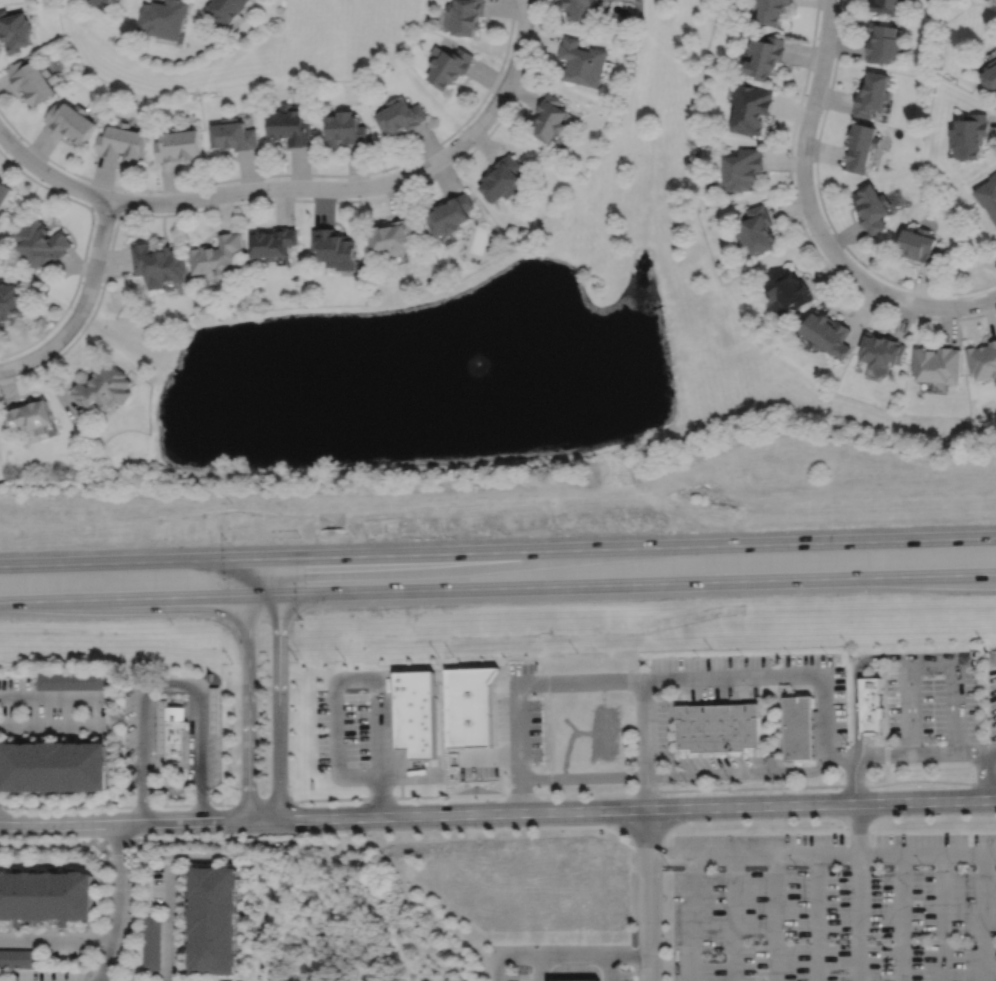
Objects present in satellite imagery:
building: (111, 1)
building: (96, 2)
building: (884, 7)
building: (224, 10)
building: (579, 11)
building: (770, 12)
building: (164, 17)
building: (464, 17)
street lamp: (534, 26)
building: (13, 29)
building: (881, 43)
building: (764, 54)
building: (582, 61)
building: (447, 65)
building: (990, 74)
building: (31, 79)
building: (870, 92)
building: (749, 107)
building: (398, 115)
road: (809, 115)
building: (550, 117)
building: (70, 120)
building: (289, 125)
building: (342, 128)
building: (233, 134)
building: (969, 134)
street lamp: (19, 139)
building: (121, 140)
building: (178, 144)
building: (859, 145)
building: (741, 168)
street lamp: (386, 172)
road: (49, 173)
building: (502, 178)
street lamp: (264, 179)
road: (370, 186)
street lamp: (150, 193)
building: (988, 194)
building: (3, 195)
building: (870, 207)
building: (450, 213)
street lamp: (93, 223)
road: (802, 226)
building: (756, 229)
building: (392, 237)
building: (40, 242)
building: (273, 242)
building: (919, 245)
building: (333, 248)
building: (217, 254)
building: (159, 264)
building: (786, 290)
road: (894, 296)
building: (8, 300)
road: (82, 304)
street lamp: (71, 306)
building: (825, 333)
building: (880, 352)
building: (982, 360)
building: (936, 364)
fountain: (444, 368)
building: (103, 388)
building: (29, 417)
road: (620, 548)
traffic signals: (278, 559)
traffic signals: (245, 560)
road: (122, 562)
road: (245, 577)
road: (620, 584)
traffic signals: (278, 594)
traffic signals: (246, 595)
road: (122, 597)
building: (992, 659)
road: (930, 660)
road: (791, 676)
building: (70, 680)
road: (855, 684)
road: (170, 685)
road: (518, 685)
road: (278, 689)
road: (337, 692)
parking lot: (933, 697)
road: (50, 698)
building: (870, 705)
road: (247, 707)
building: (216, 711)
building: (417, 713)
parking lot: (652, 723)
road: (51, 726)
building: (797, 727)
building: (162, 728)
building: (718, 728)
building: (177, 732)
parking lot: (362, 733)
road: (992, 752)
road: (191, 763)
building: (53, 767)
road: (737, 771)
road: (568, 776)
road: (989, 776)
road: (855, 779)
road: (637, 809)
road: (139, 823)
road: (856, 829)
road: (670, 855)
road: (711, 855)
road: (926, 855)
road: (648, 895)
building: (46, 896)
road: (120, 903)
parking lot: (833, 906)
road: (734, 918)
road: (775, 918)
road: (817, 918)
road: (856, 918)
road: (900, 918)
road: (942, 918)
road: (983, 918)
building: (215, 920)
road: (171, 925)
road: (55, 939)
building: (151, 941)
road: (354, 941)
road: (555, 957)
road: (631, 957)
building: (18, 958)
parking lot: (559, 962)
road: (540, 969)
building: (576, 980)

